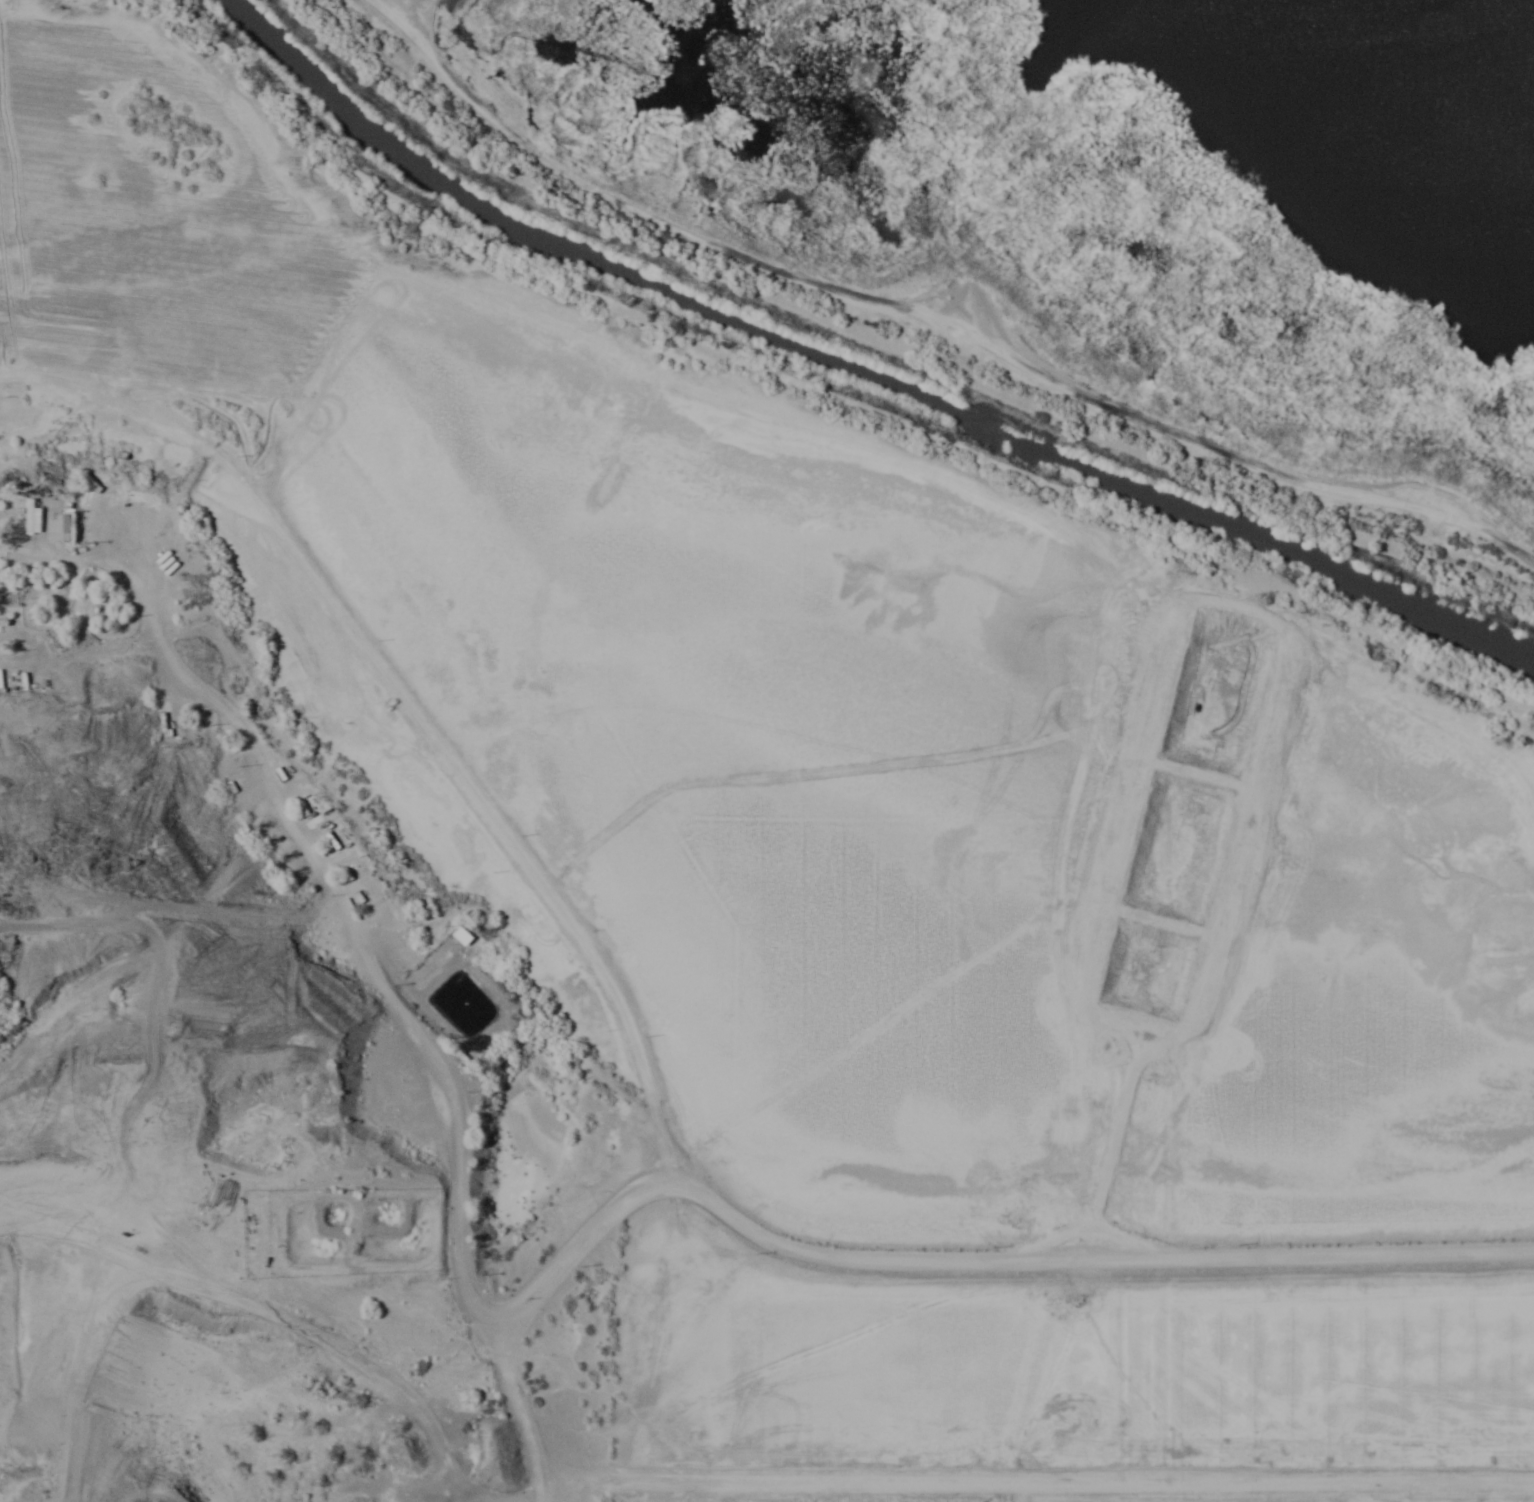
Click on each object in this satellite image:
road: (941, 348)
river: (858, 371)
building: (35, 522)
road: (582, 1248)
road: (515, 1411)

